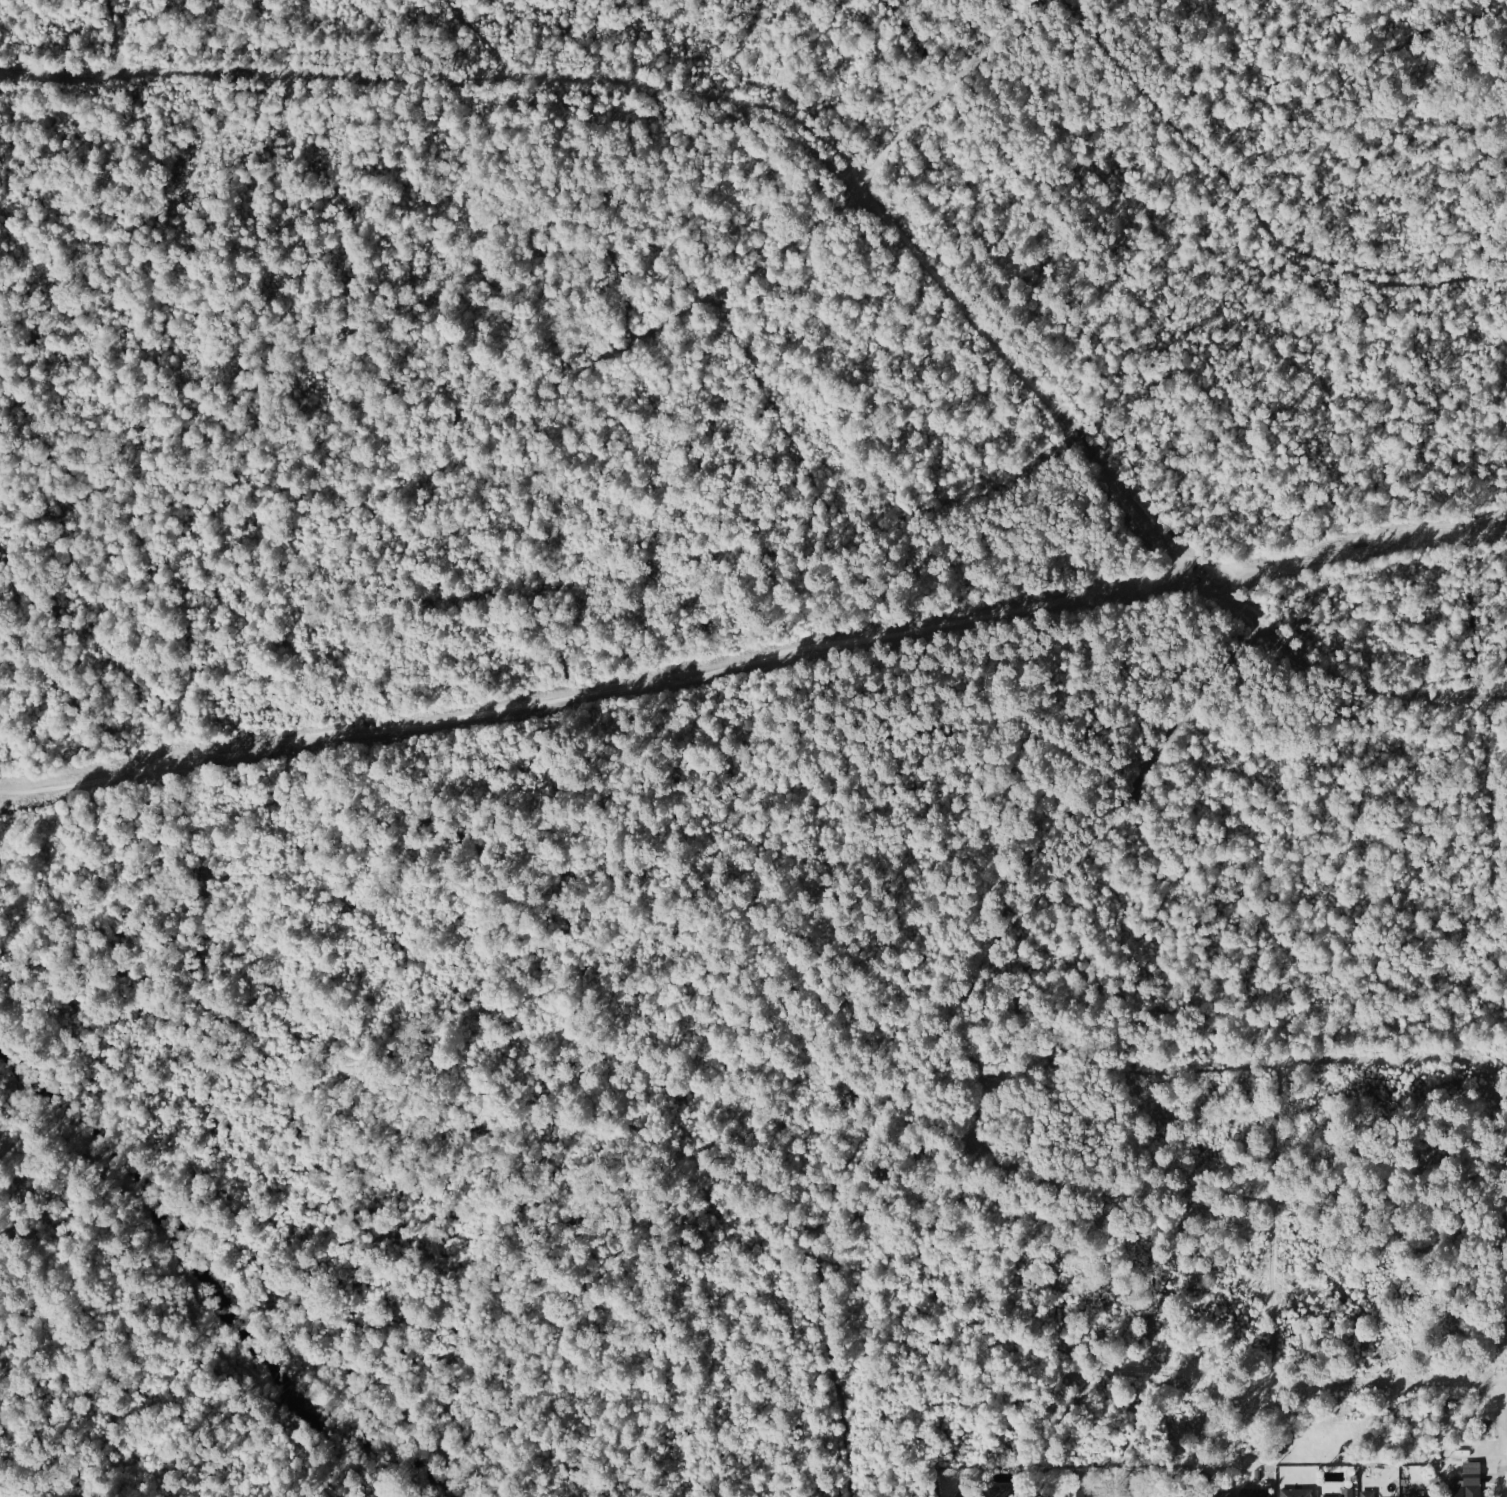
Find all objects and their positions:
road: (483, 38)
road: (853, 171)
road: (938, 1024)
river: (197, 1316)
road: (1506, 1480)
building: (1466, 1486)
building: (1060, 1490)
building: (1008, 1491)
building: (1297, 1492)
building: (1093, 1493)
building: (1175, 1493)
building: (1256, 1493)
building: (1348, 1493)
building: (1369, 1494)
building: (1423, 1495)
building: (1222, 1496)

